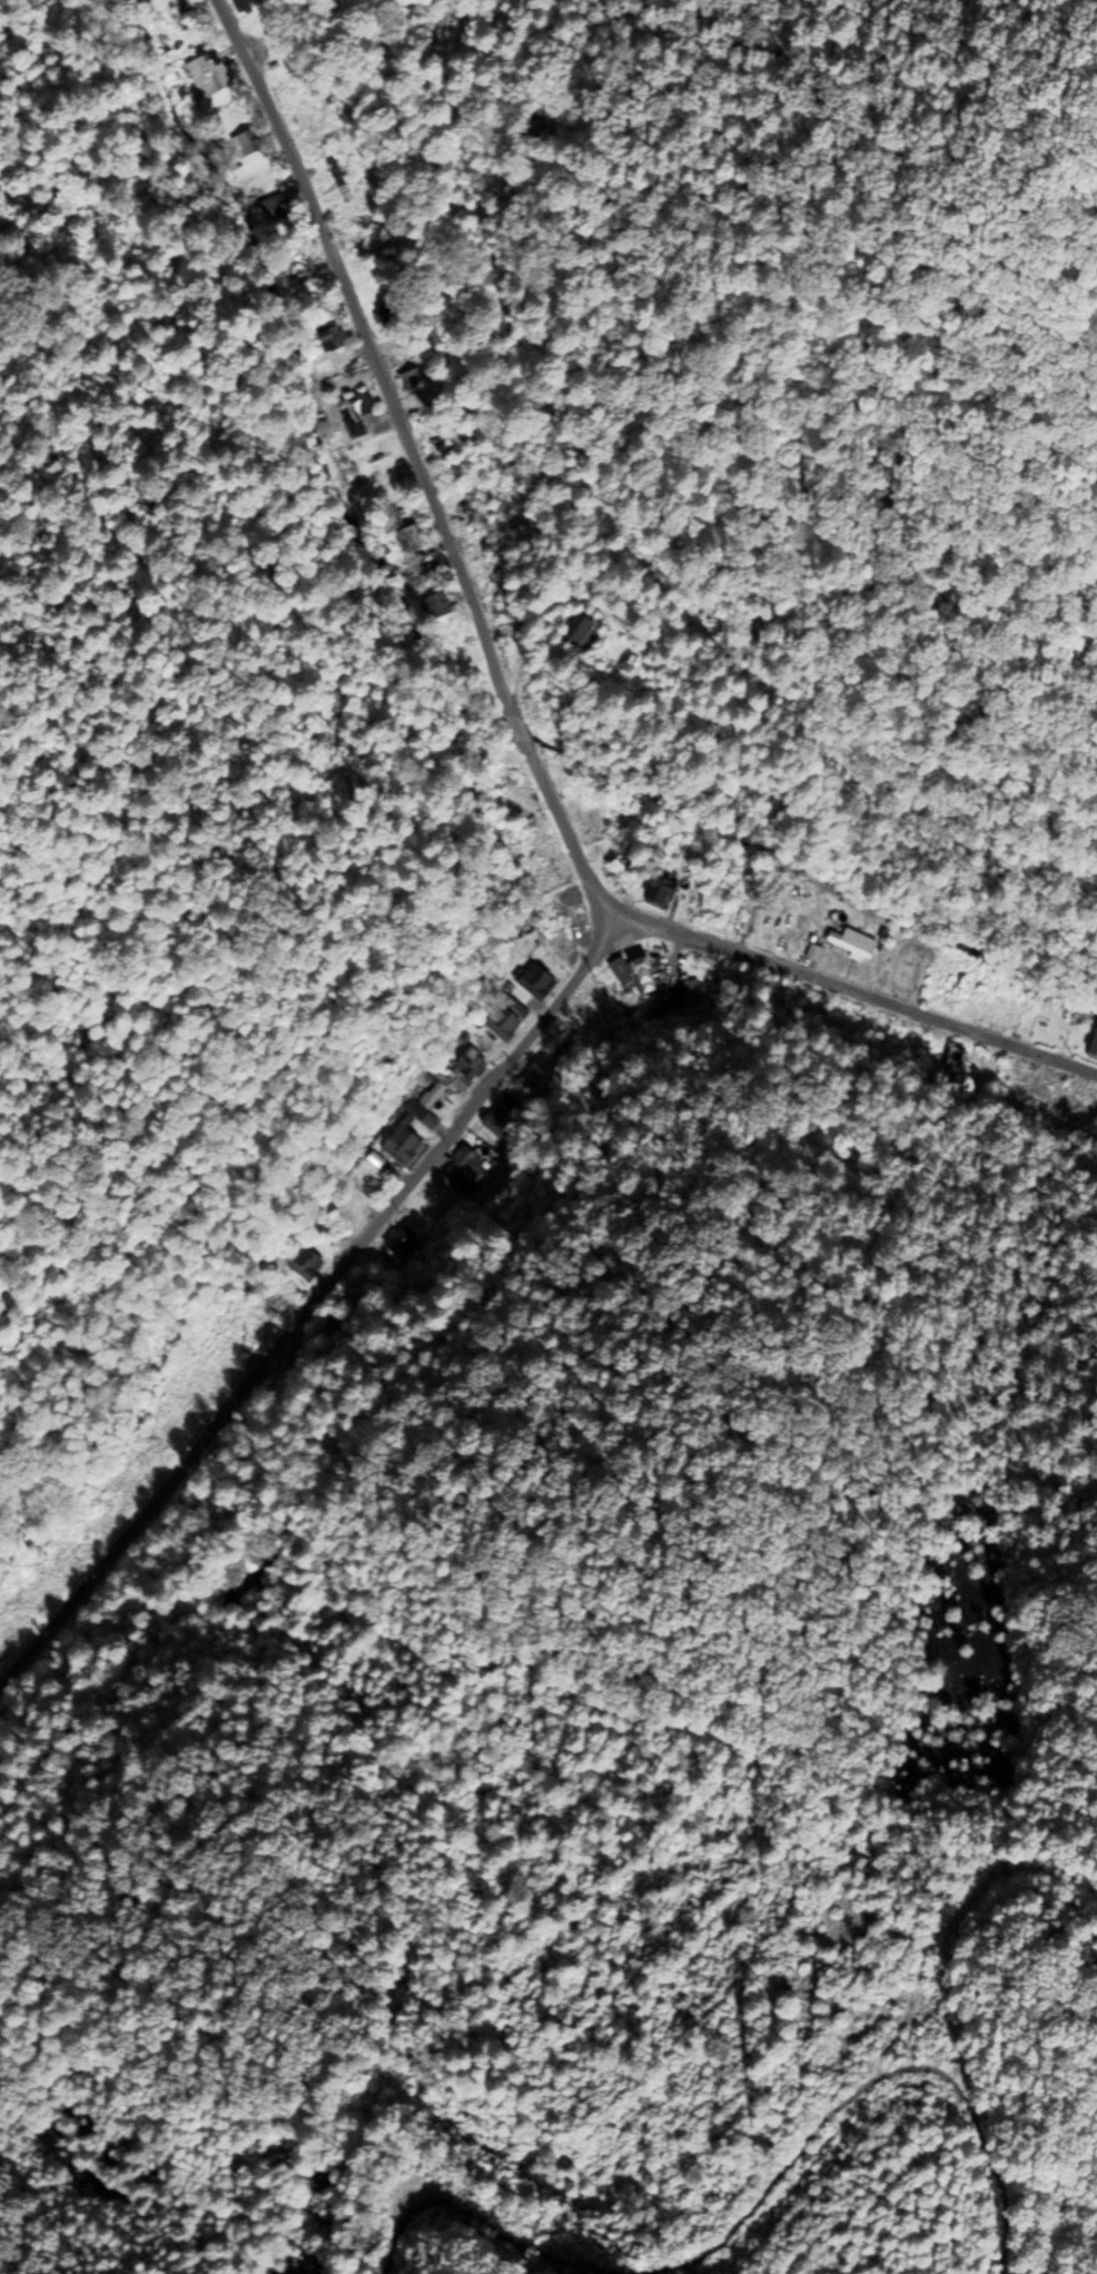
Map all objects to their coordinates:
road: (518, 689)
road: (308, 1319)
road: (847, 2040)
road: (447, 2219)

